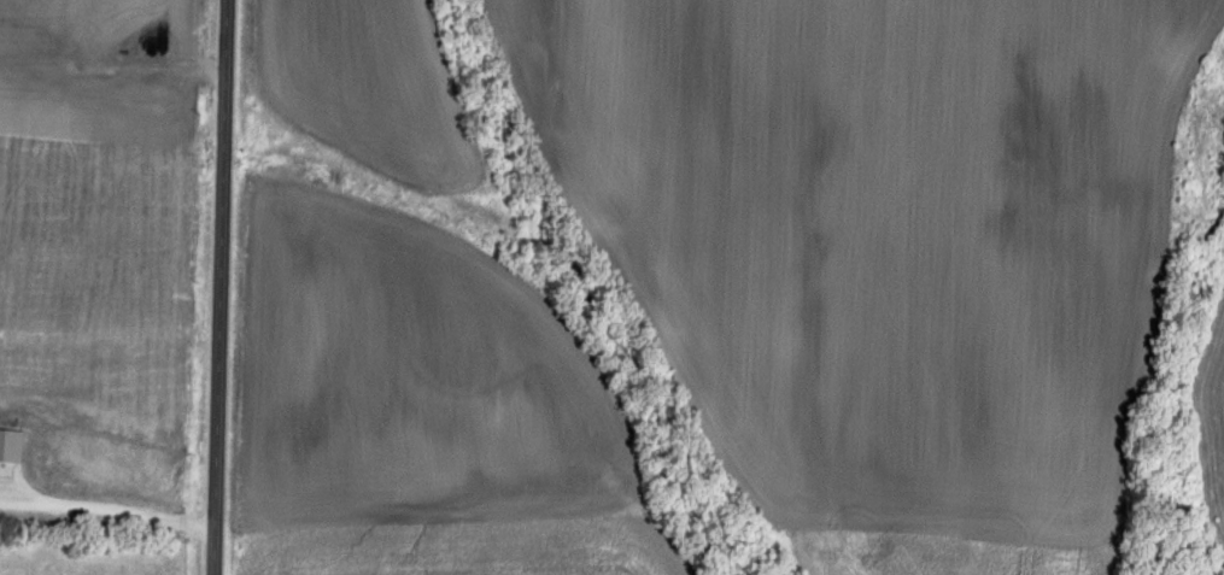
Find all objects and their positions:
road: (221, 287)

